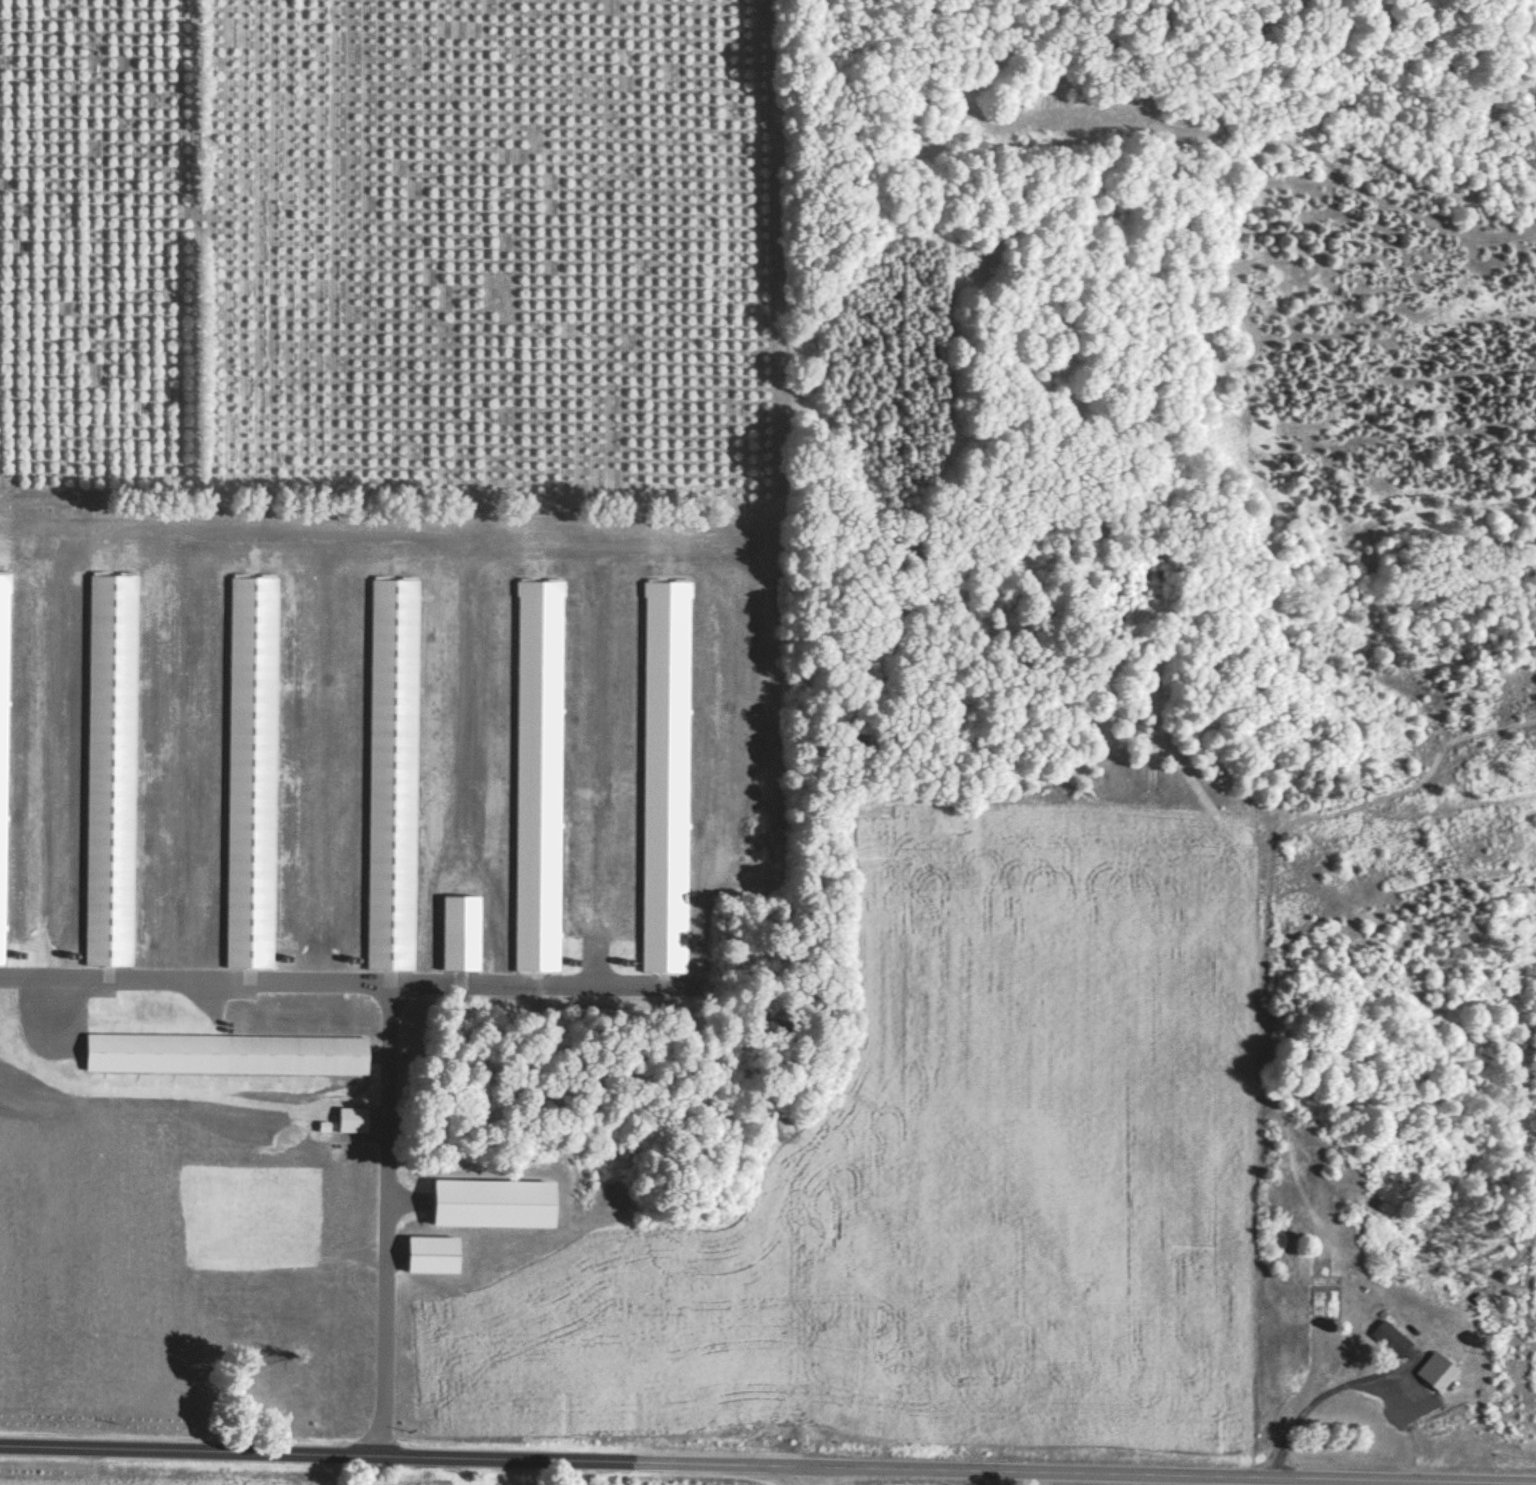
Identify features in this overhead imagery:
building: (1390, 1341)
road: (765, 1467)
road: (805, 1477)

